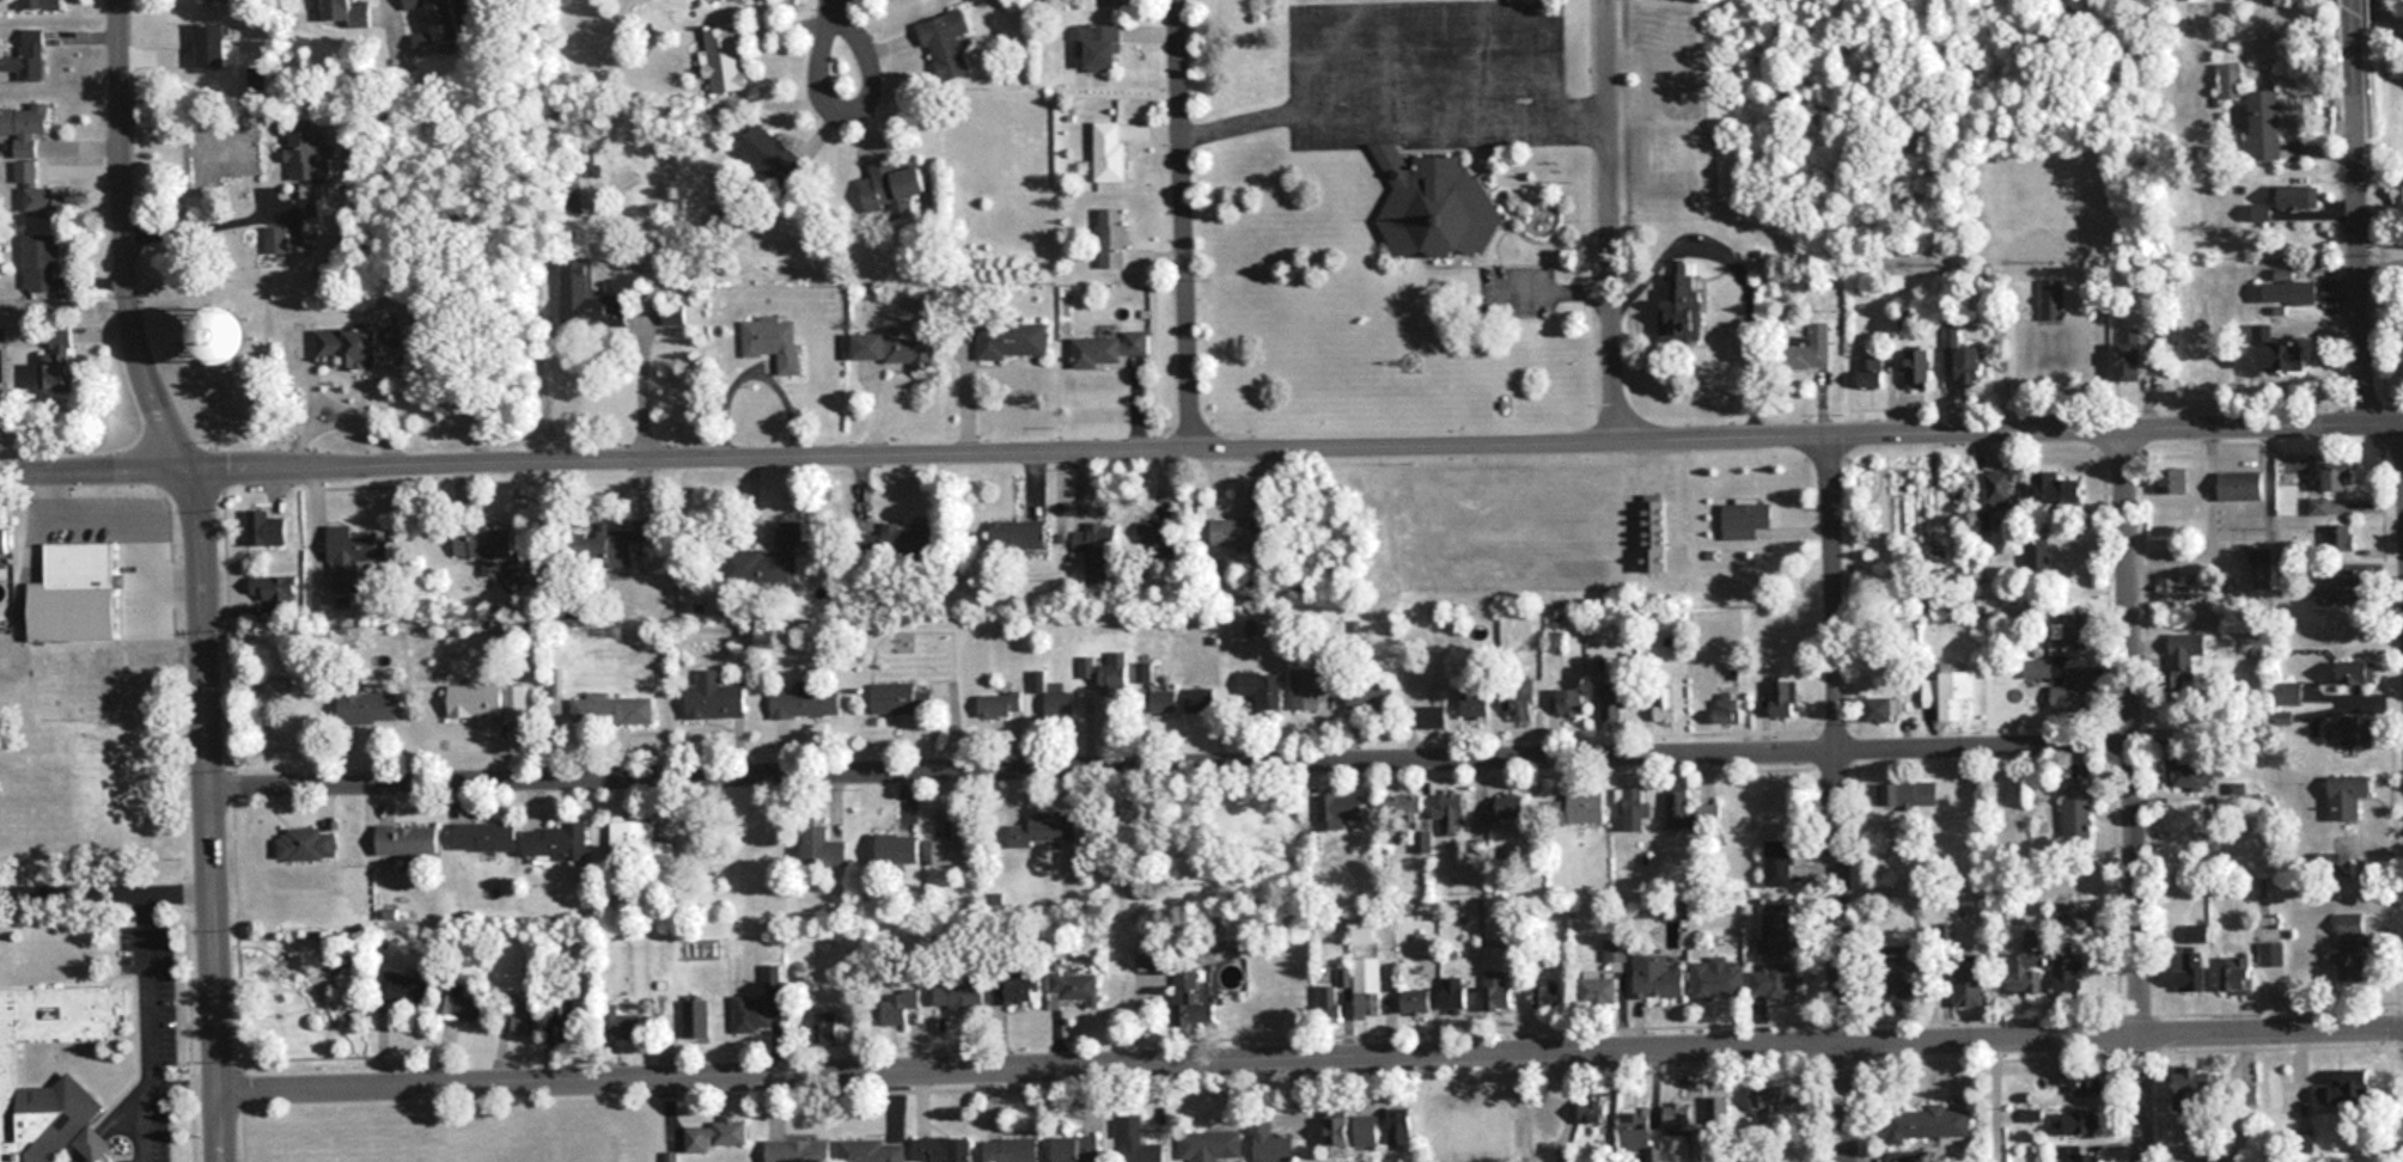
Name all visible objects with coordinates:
building: (232, 0)
building: (41, 5)
road: (828, 5)
railway: (2392, 5)
building: (337, 10)
building: (440, 18)
road: (2355, 30)
building: (211, 44)
building: (946, 44)
building: (1100, 45)
building: (28, 56)
building: (724, 60)
building: (1677, 63)
building: (2232, 80)
road: (821, 99)
road: (1393, 108)
building: (25, 126)
building: (2265, 126)
building: (1110, 151)
building: (306, 153)
building: (770, 155)
building: (893, 188)
building: (39, 191)
building: (2298, 196)
building: (1431, 204)
road: (1609, 212)
road: (1185, 216)
road: (208, 228)
road: (127, 232)
road: (2361, 233)
building: (1111, 238)
building: (277, 240)
building: (41, 263)
building: (2289, 292)
building: (588, 301)
building: (1683, 305)
building: (2055, 328)
building: (237, 335)
water tower: (225, 336)
building: (1011, 340)
building: (773, 342)
building: (349, 344)
building: (893, 348)
building: (1108, 348)
building: (1809, 349)
building: (2286, 356)
building: (2128, 357)
building: (1965, 360)
building: (60, 362)
building: (1917, 369)
building: (1871, 373)
road: (641, 380)
road: (1201, 433)
road: (2398, 447)
building: (2343, 478)
building: (2055, 489)
building: (1999, 490)
building: (2320, 506)
building: (1745, 520)
building: (264, 528)
building: (1240, 532)
building: (1653, 532)
building: (1018, 533)
building: (1158, 534)
building: (907, 536)
building: (2343, 537)
building: (4, 542)
building: (611, 544)
building: (482, 545)
building: (1096, 550)
building: (2037, 552)
building: (352, 556)
building: (768, 559)
building: (2259, 568)
building: (2172, 588)
building: (2346, 588)
building: (275, 592)
building: (75, 593)
building: (2075, 630)
building: (1555, 641)
building: (2187, 647)
building: (2358, 671)
building: (1111, 675)
building: (2061, 684)
building: (1311, 685)
building: (1261, 689)
building: (1950, 693)
building: (1370, 695)
building: (897, 698)
building: (1523, 698)
building: (1785, 698)
building: (715, 699)
building: (807, 699)
building: (1199, 699)
building: (487, 701)
building: (1163, 702)
building: (1572, 702)
building: (1476, 703)
building: (1665, 703)
building: (1000, 704)
building: (1059, 704)
building: (1611, 705)
building: (367, 707)
building: (1727, 707)
building: (1885, 709)
building: (612, 710)
building: (1432, 714)
building: (2352, 732)
road: (1173, 767)
building: (2189, 771)
building: (2006, 779)
road: (2135, 787)
road: (1840, 790)
building: (1911, 794)
building: (2348, 796)
building: (1409, 805)
building: (1678, 806)
building: (1775, 806)
road: (213, 807)
building: (1580, 807)
building: (1506, 808)
building: (1338, 809)
building: (1636, 809)
building: (2078, 811)
building: (1452, 813)
building: (2188, 817)
building: (1048, 828)
building: (486, 837)
building: (407, 840)
building: (555, 842)
building: (306, 845)
building: (639, 845)
building: (959, 845)
building: (822, 846)
building: (898, 849)
building: (1780, 863)
building: (2338, 864)
road: (71, 889)
road: (1989, 894)
building: (2359, 924)
building: (1774, 929)
building: (1364, 931)
building: (2196, 935)
building: (1425, 942)
building: (1615, 949)
building: (2271, 954)
building: (2358, 966)
building: (2194, 971)
building: (2026, 973)
building: (2085, 976)
building: (2237, 976)
building: (1655, 977)
building: (773, 978)
building: (1496, 978)
building: (1716, 978)
building: (1774, 980)
building: (1970, 980)
building: (1367, 986)
building: (1903, 986)
building: (1074, 987)
building: (1599, 987)
building: (404, 989)
building: (1016, 990)
road: (145, 991)
building: (958, 993)
building: (1454, 995)
building: (1549, 996)
building: (1191, 1001)
building: (1416, 1001)
building: (1328, 1004)
building: (898, 1005)
building: (462, 1009)
building: (752, 1014)
building: (523, 1020)
building: (695, 1020)
building: (568, 1021)
building: (618, 1023)
building: (825, 1028)
road: (1312, 1063)
building: (10, 1080)
building: (2084, 1080)
building: (2201, 1090)
building: (1770, 1099)
building: (2352, 1099)
road: (1993, 1100)
building: (1594, 1108)
building: (1550, 1111)
building: (1679, 1118)
road: (120, 1121)
building: (2076, 1123)
building: (1927, 1124)
building: (1401, 1126)
building: (1636, 1127)
building: (1340, 1130)
building: (1366, 1130)
building: (718, 1136)
building: (1133, 1140)
road: (91, 1143)
building: (1271, 1143)
building: (1210, 1146)
building: (943, 1149)
building: (1078, 1149)
building: (1011, 1150)
building: (798, 1151)
building: (872, 1151)
building: (1696, 1152)
building: (2078, 1154)
building: (1909, 1156)
road: (83, 1157)

